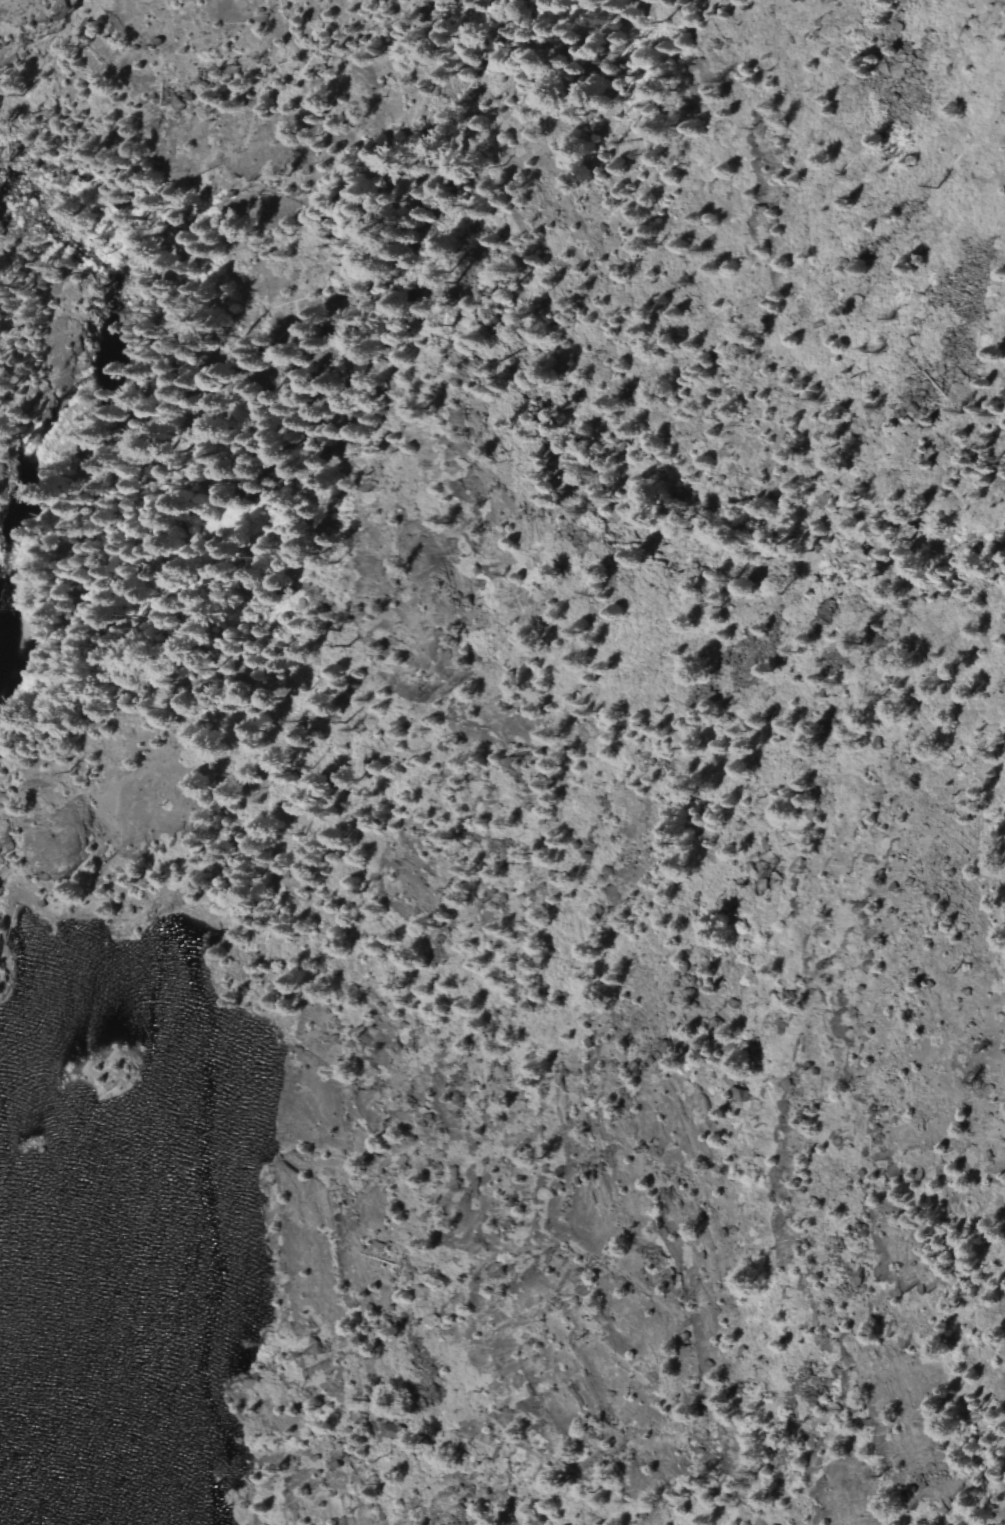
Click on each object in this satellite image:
river: (97, 377)

